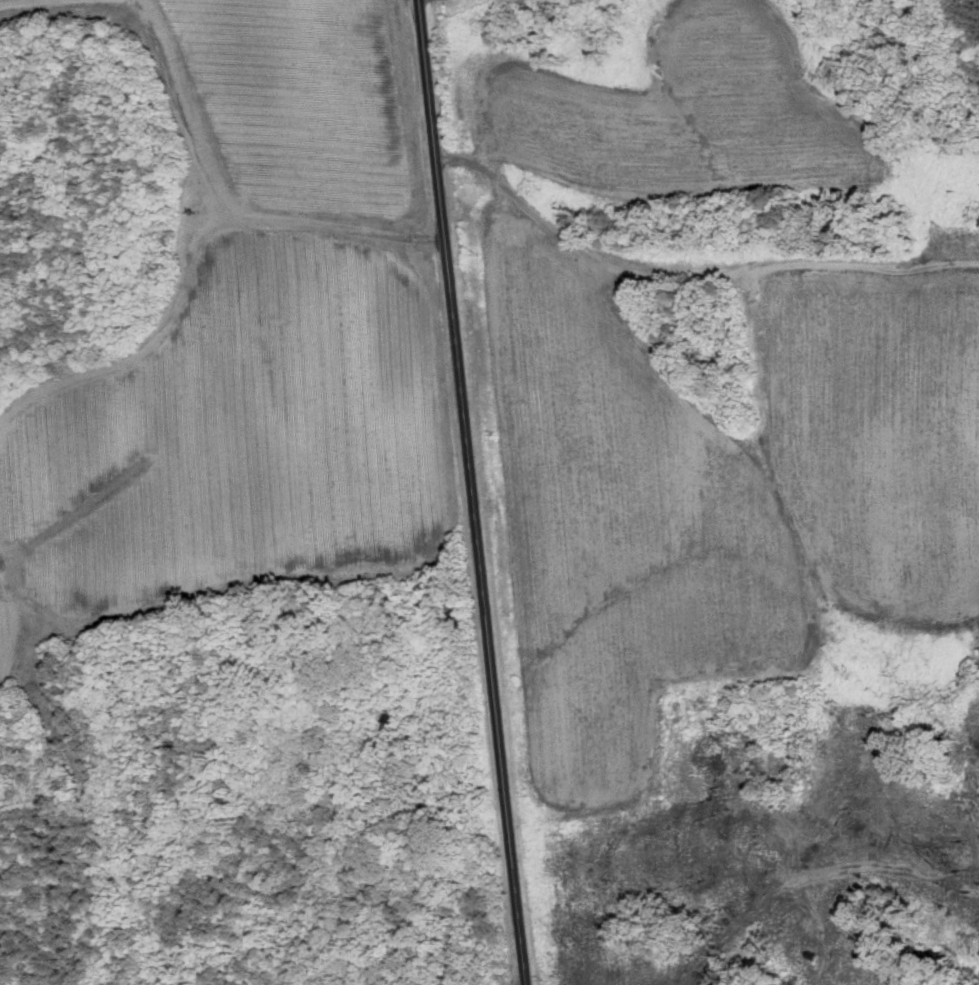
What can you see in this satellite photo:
road: (143, 8)
road: (202, 145)
road: (692, 265)
road: (474, 492)

